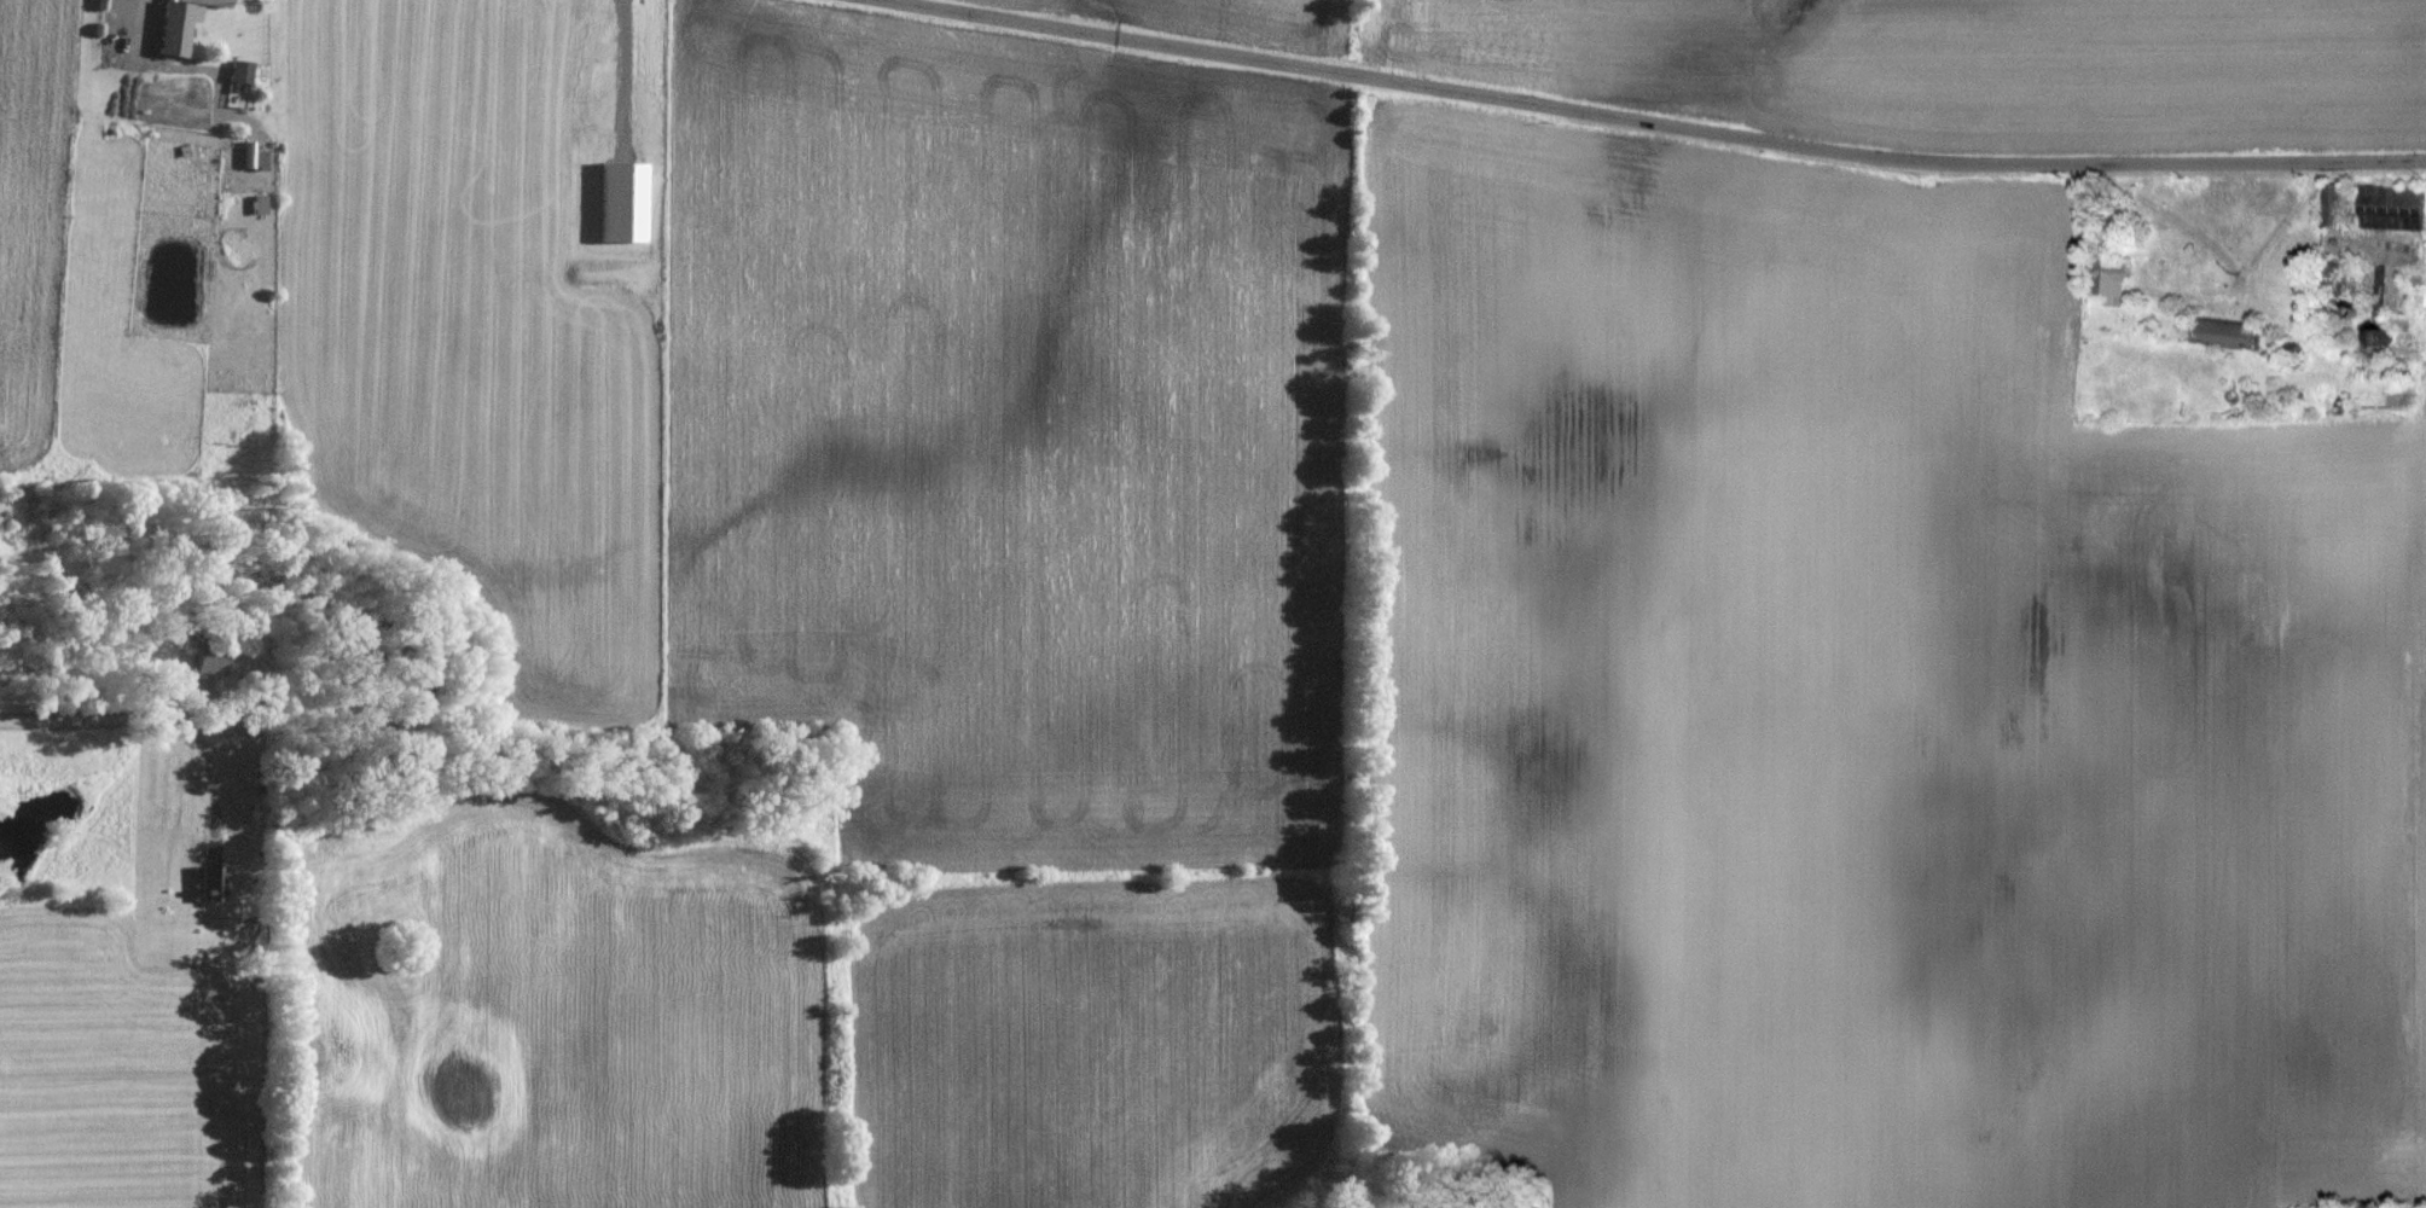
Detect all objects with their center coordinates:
building: (174, 23)
building: (238, 71)
road: (1648, 122)
building: (2334, 203)
building: (2389, 207)
road: (2212, 249)
building: (2109, 277)
building: (2222, 332)
road: (162, 710)

